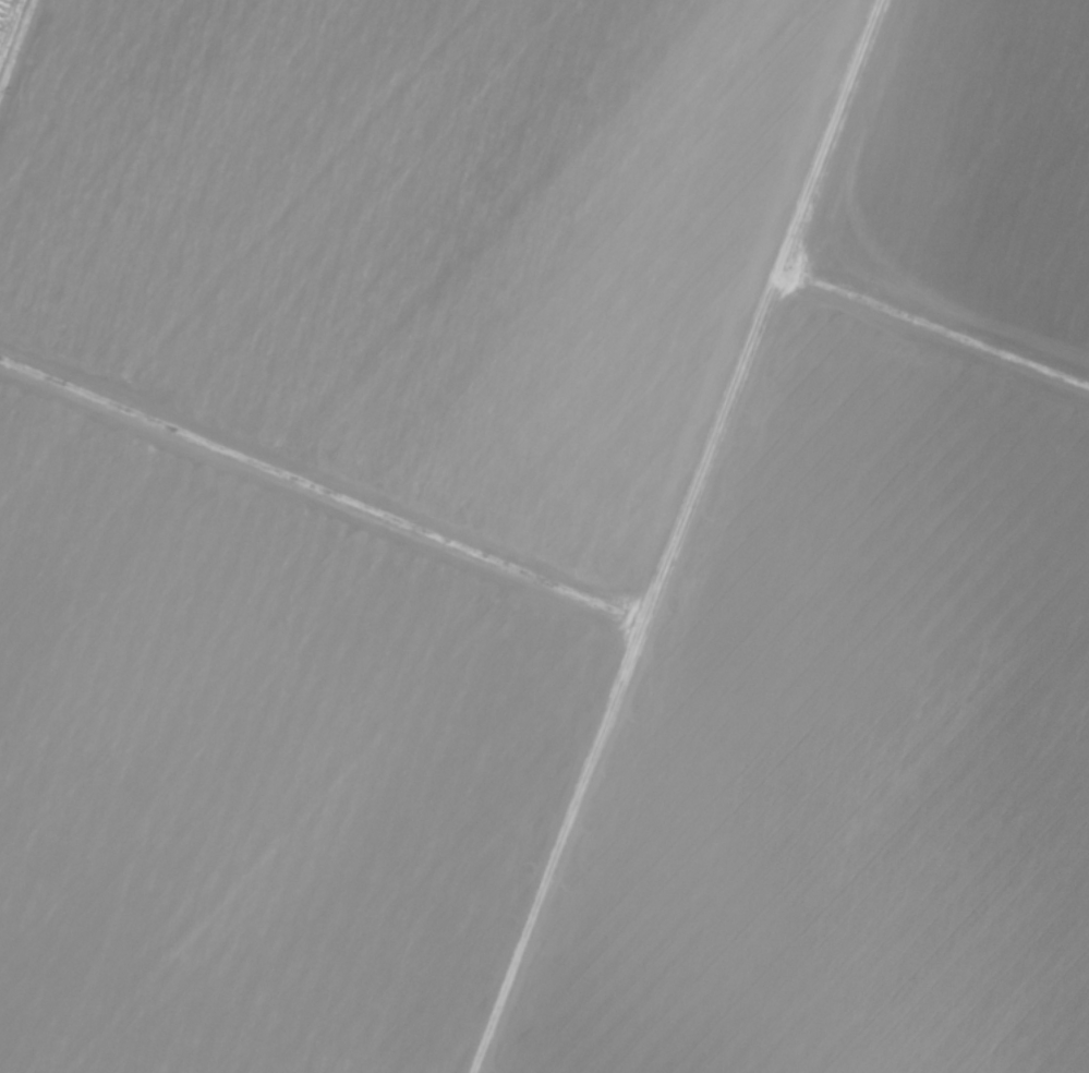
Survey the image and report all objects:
crop: (544, 536)

